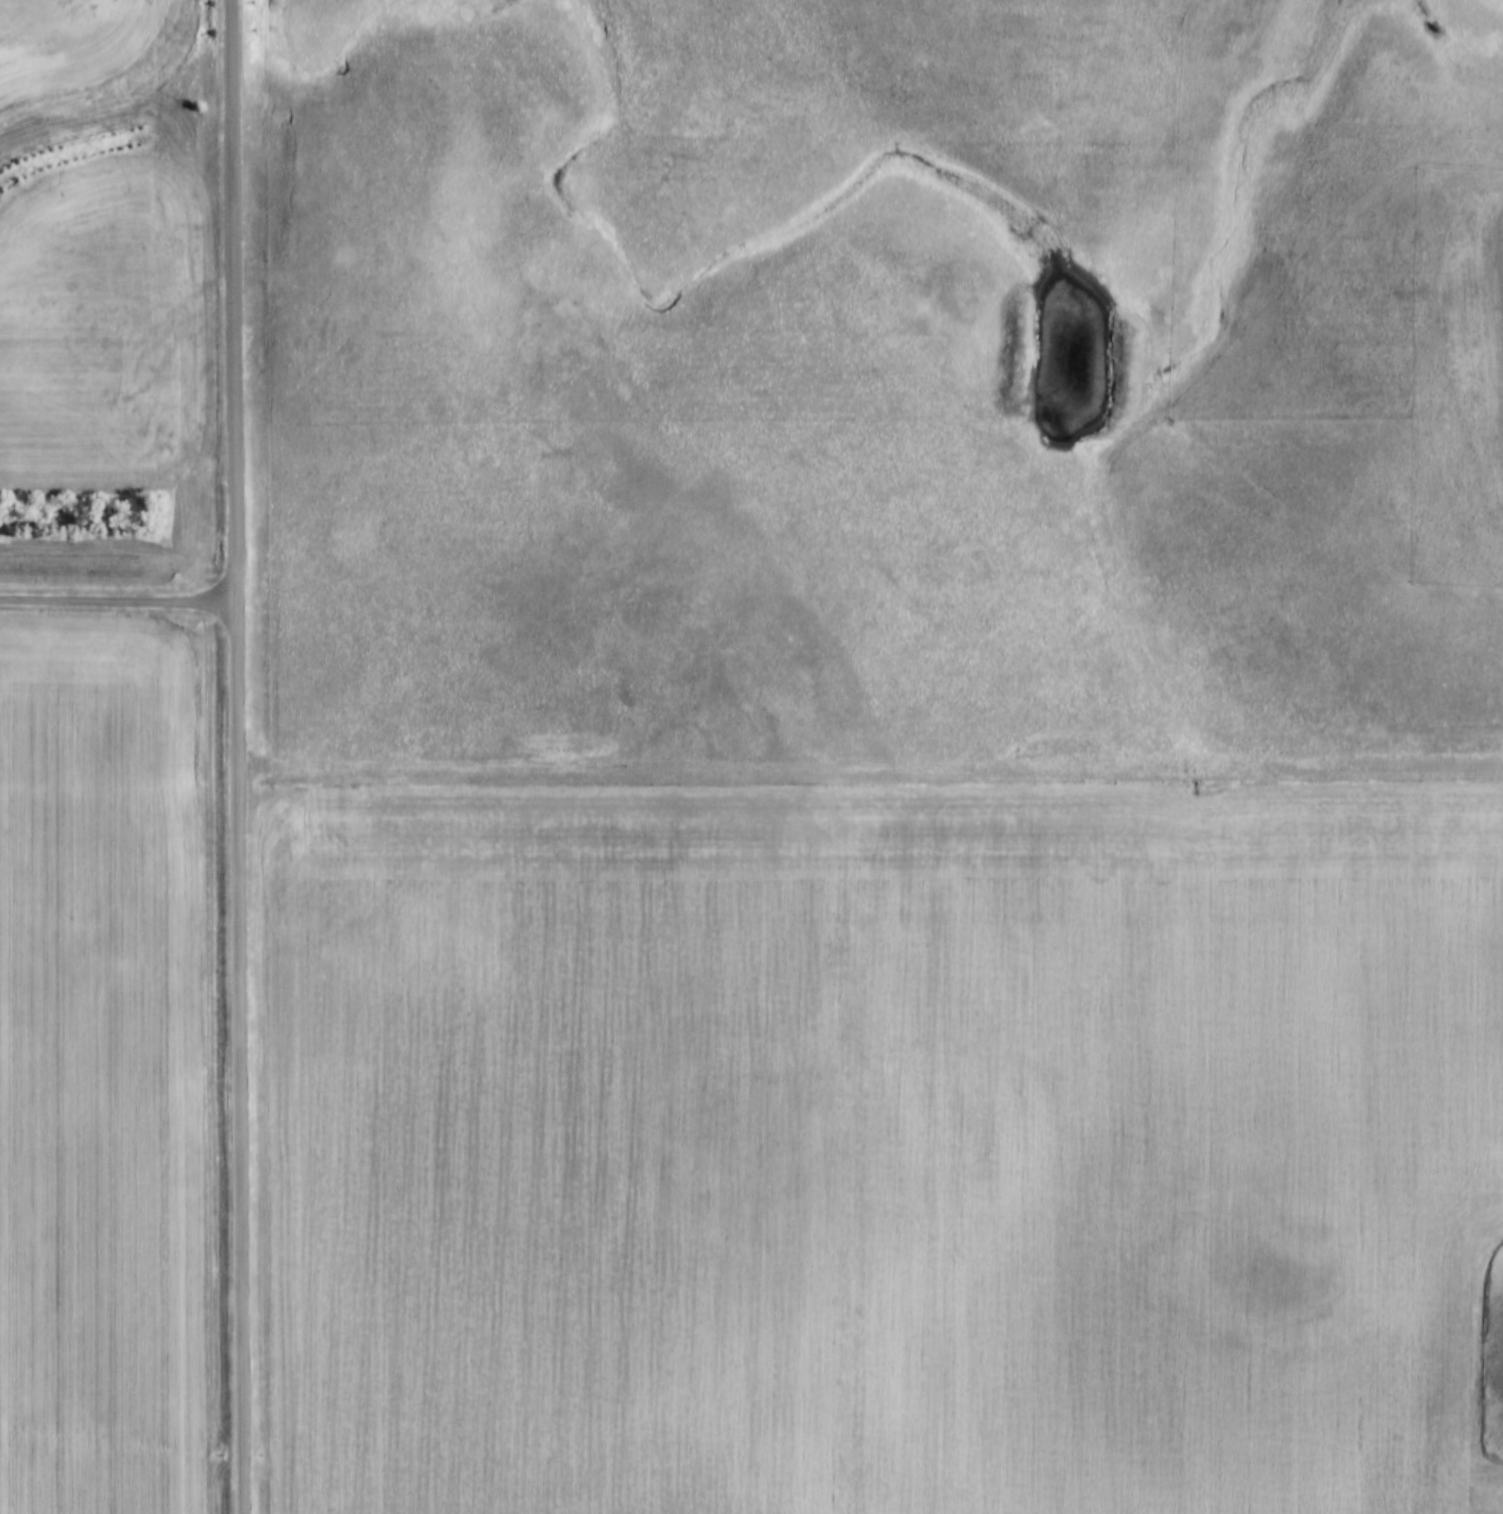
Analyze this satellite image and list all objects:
road: (119, 603)
road: (242, 756)
road: (872, 769)

